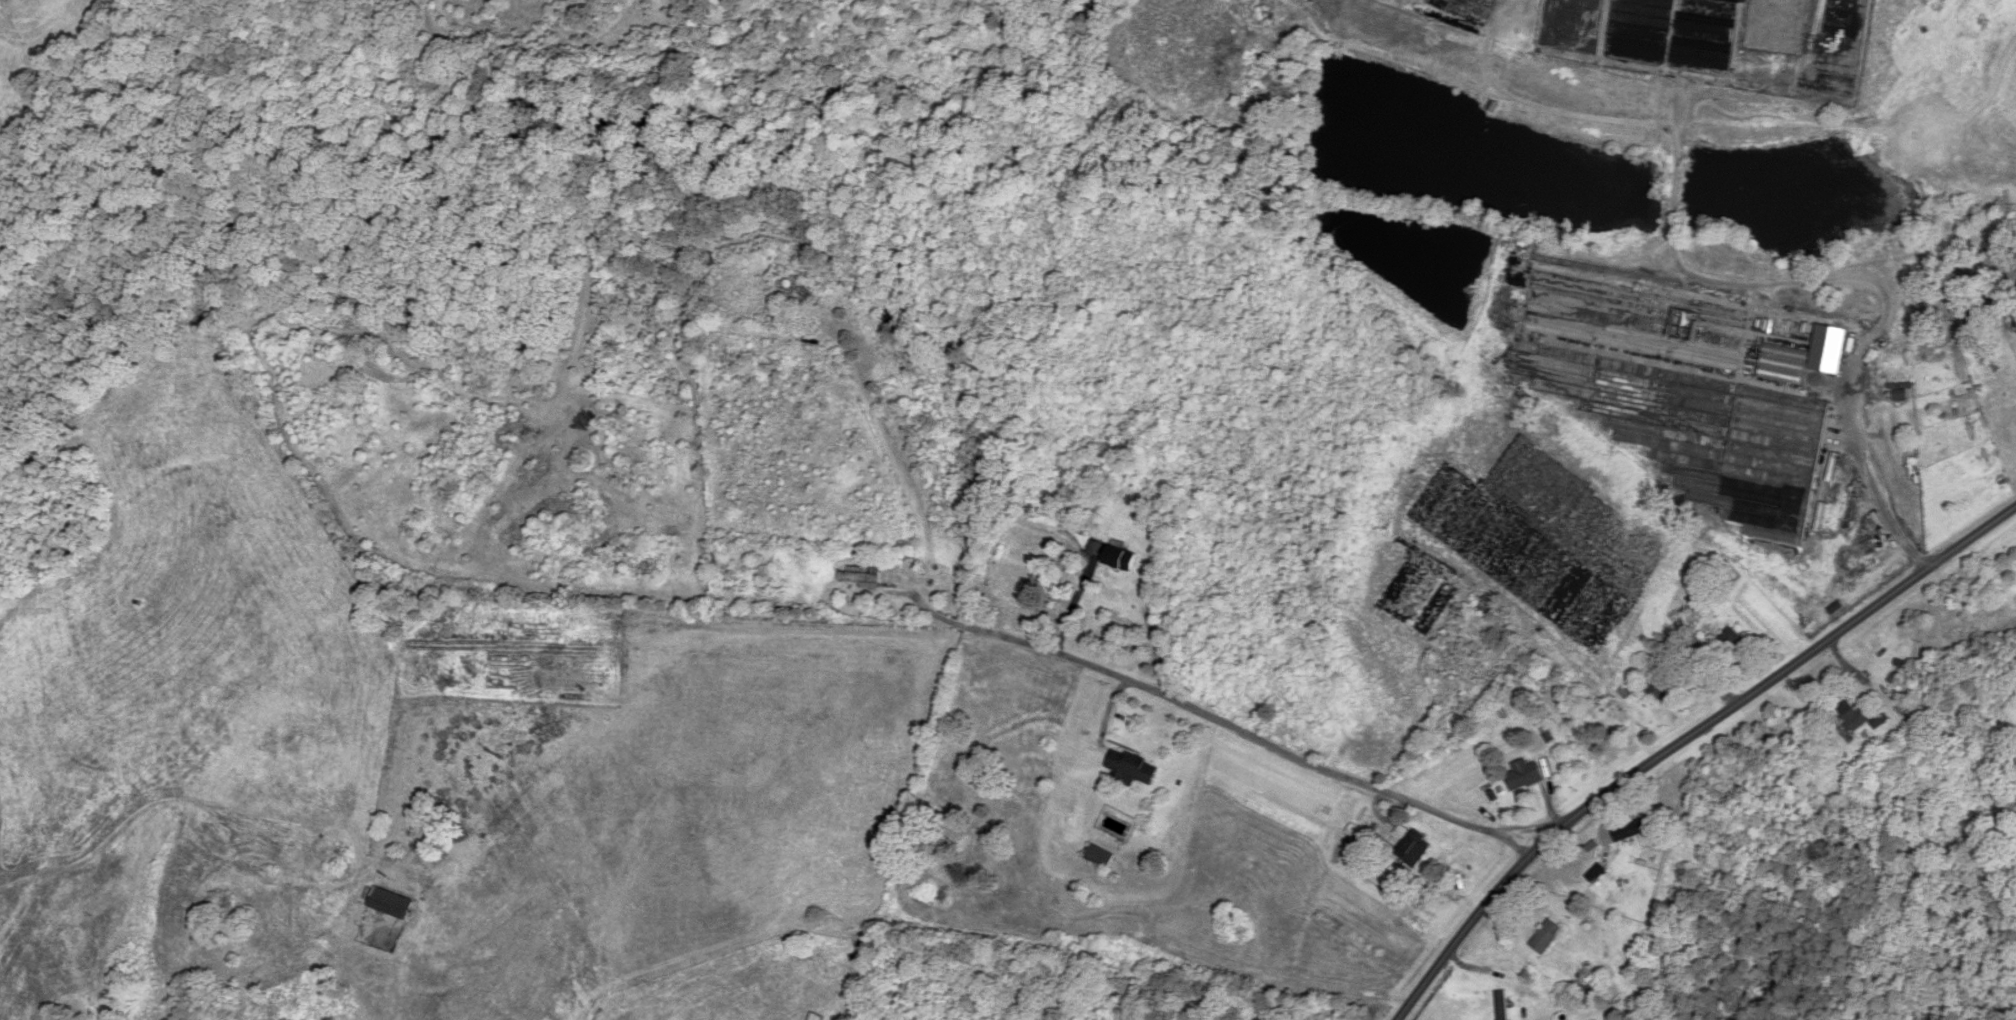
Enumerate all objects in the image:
building: (796, 290)
building: (887, 320)
building: (1765, 451)
road: (1878, 500)
building: (1120, 558)
building: (2014, 568)
building: (861, 575)
building: (1488, 606)
road: (1071, 607)
building: (1730, 640)
building: (1663, 687)
building: (1862, 720)
road: (1684, 740)
road: (1254, 745)
building: (1995, 753)
building: (1132, 768)
building: (1528, 775)
building: (1633, 829)
building: (1411, 846)
building: (1099, 857)
building: (1596, 874)
building: (391, 905)
building: (1546, 938)
building: (1501, 1006)

